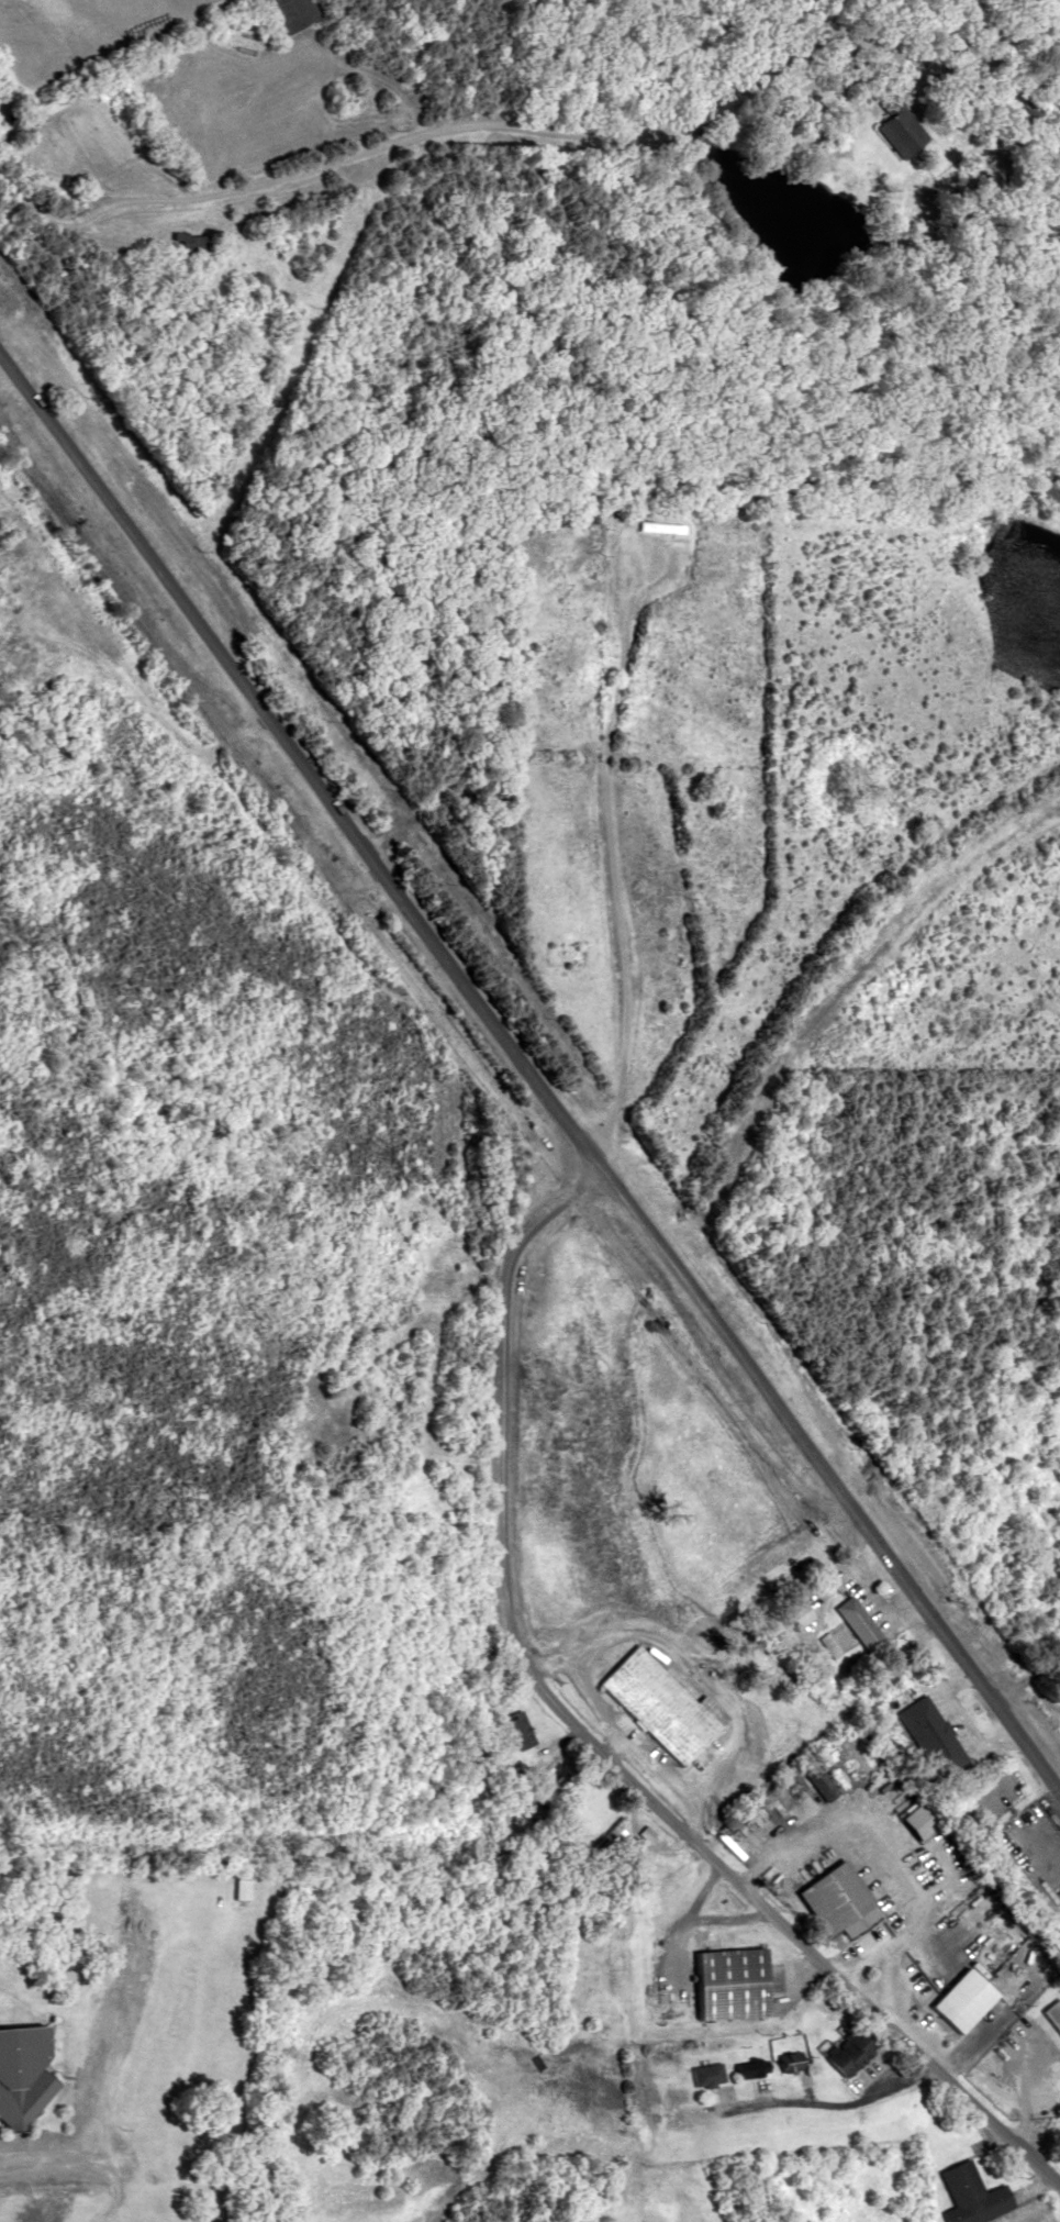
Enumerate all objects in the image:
building: (282, 13)
building: (888, 107)
building: (186, 242)
building: (579, 516)
building: (654, 526)
road: (607, 856)
road: (529, 1079)
building: (790, 1613)
building: (852, 1620)
building: (829, 1644)
building: (657, 1704)
building: (516, 1729)
building: (927, 1735)
road: (591, 1743)
building: (816, 1782)
building: (606, 1832)
building: (235, 1889)
building: (834, 1900)
building: (723, 1984)
building: (1051, 2014)
road: (1003, 2046)
building: (843, 2054)
building: (785, 2062)
building: (744, 2069)
building: (25, 2073)
building: (706, 2074)
road: (819, 2103)
road: (86, 2163)
building: (966, 2195)

